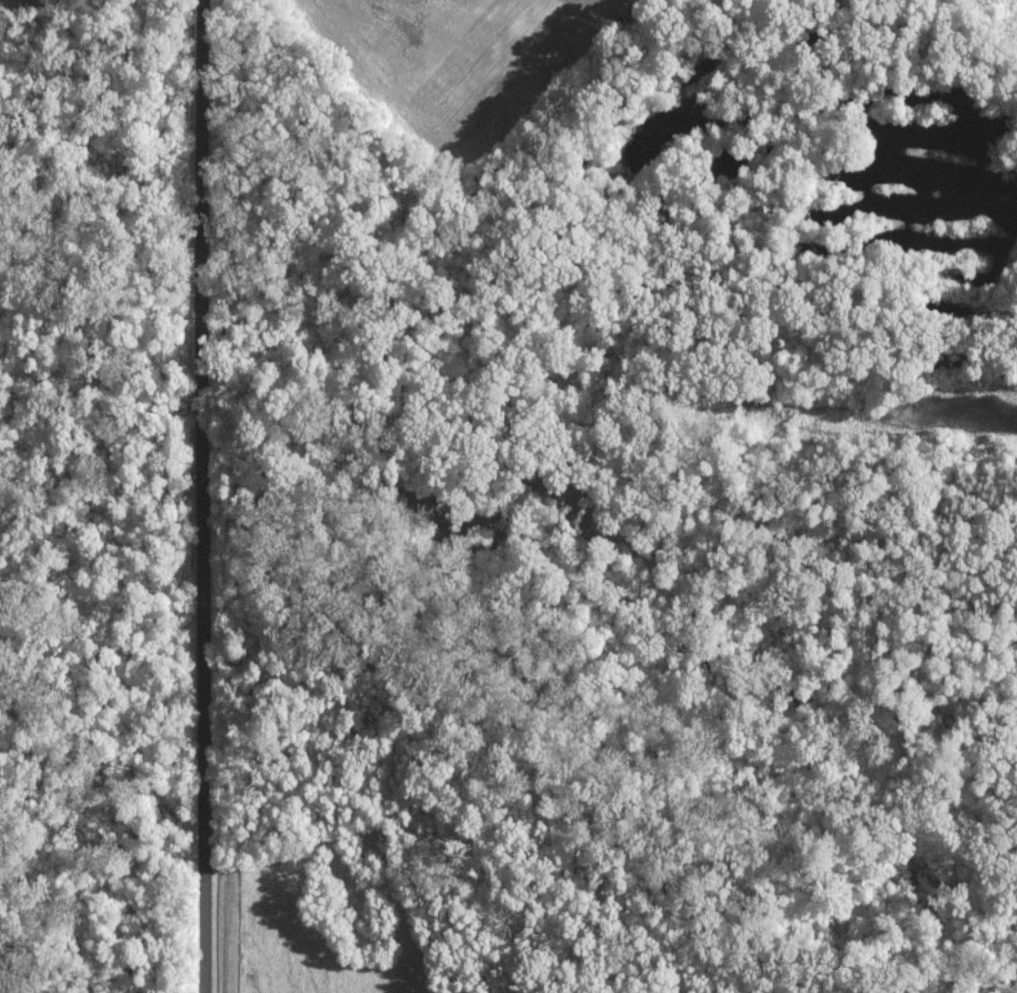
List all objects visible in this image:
road: (108, 293)
road: (217, 496)

